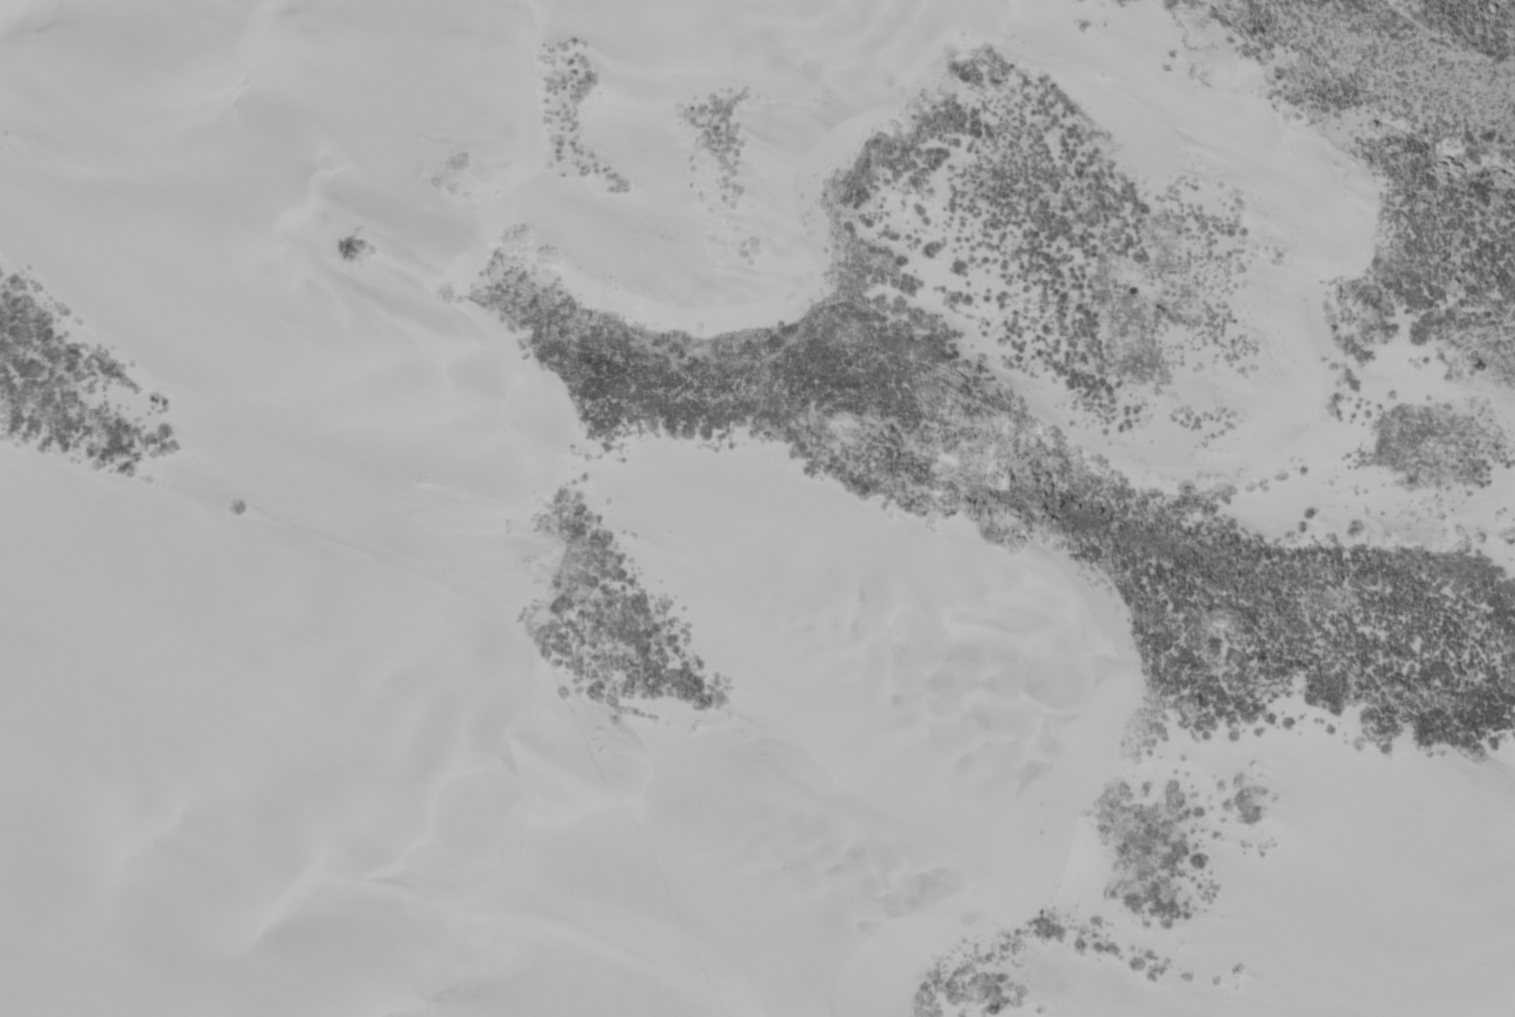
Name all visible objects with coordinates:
park: (744, 517)

